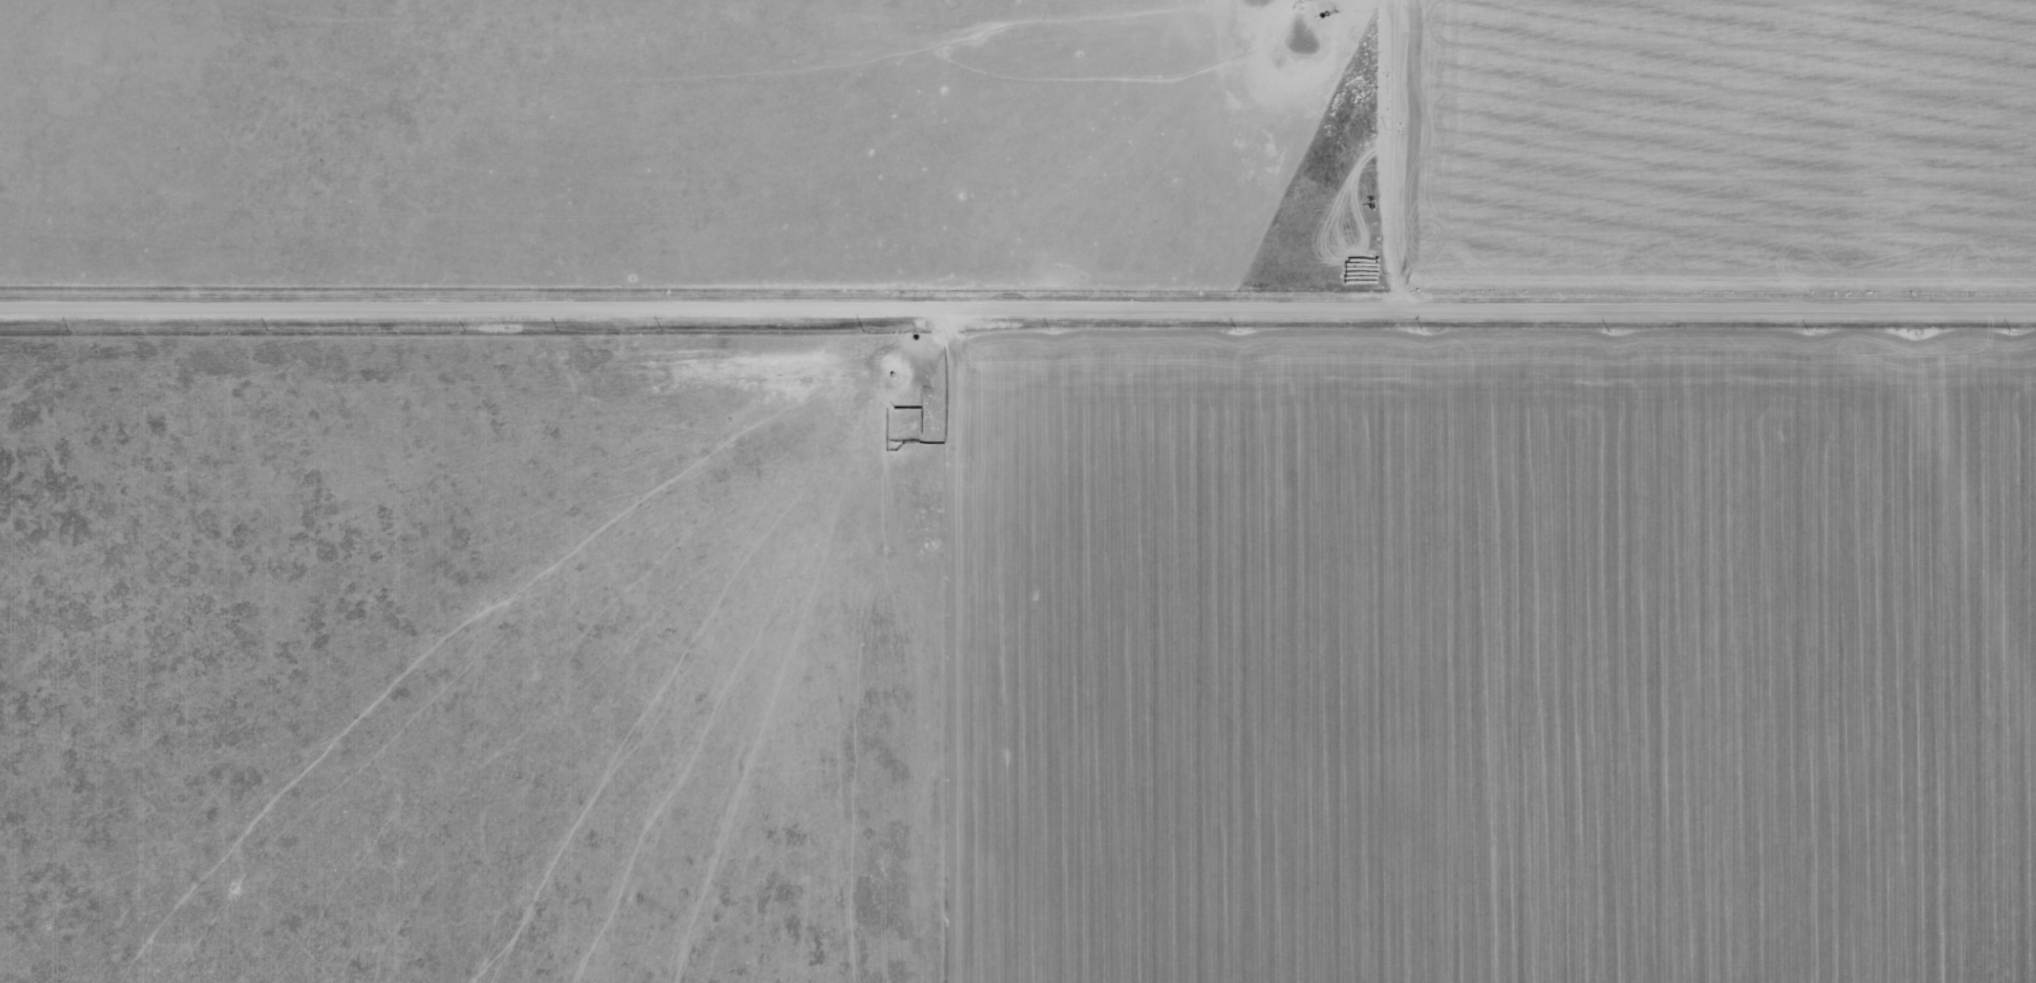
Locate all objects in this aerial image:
road: (1399, 155)
road: (1017, 310)

